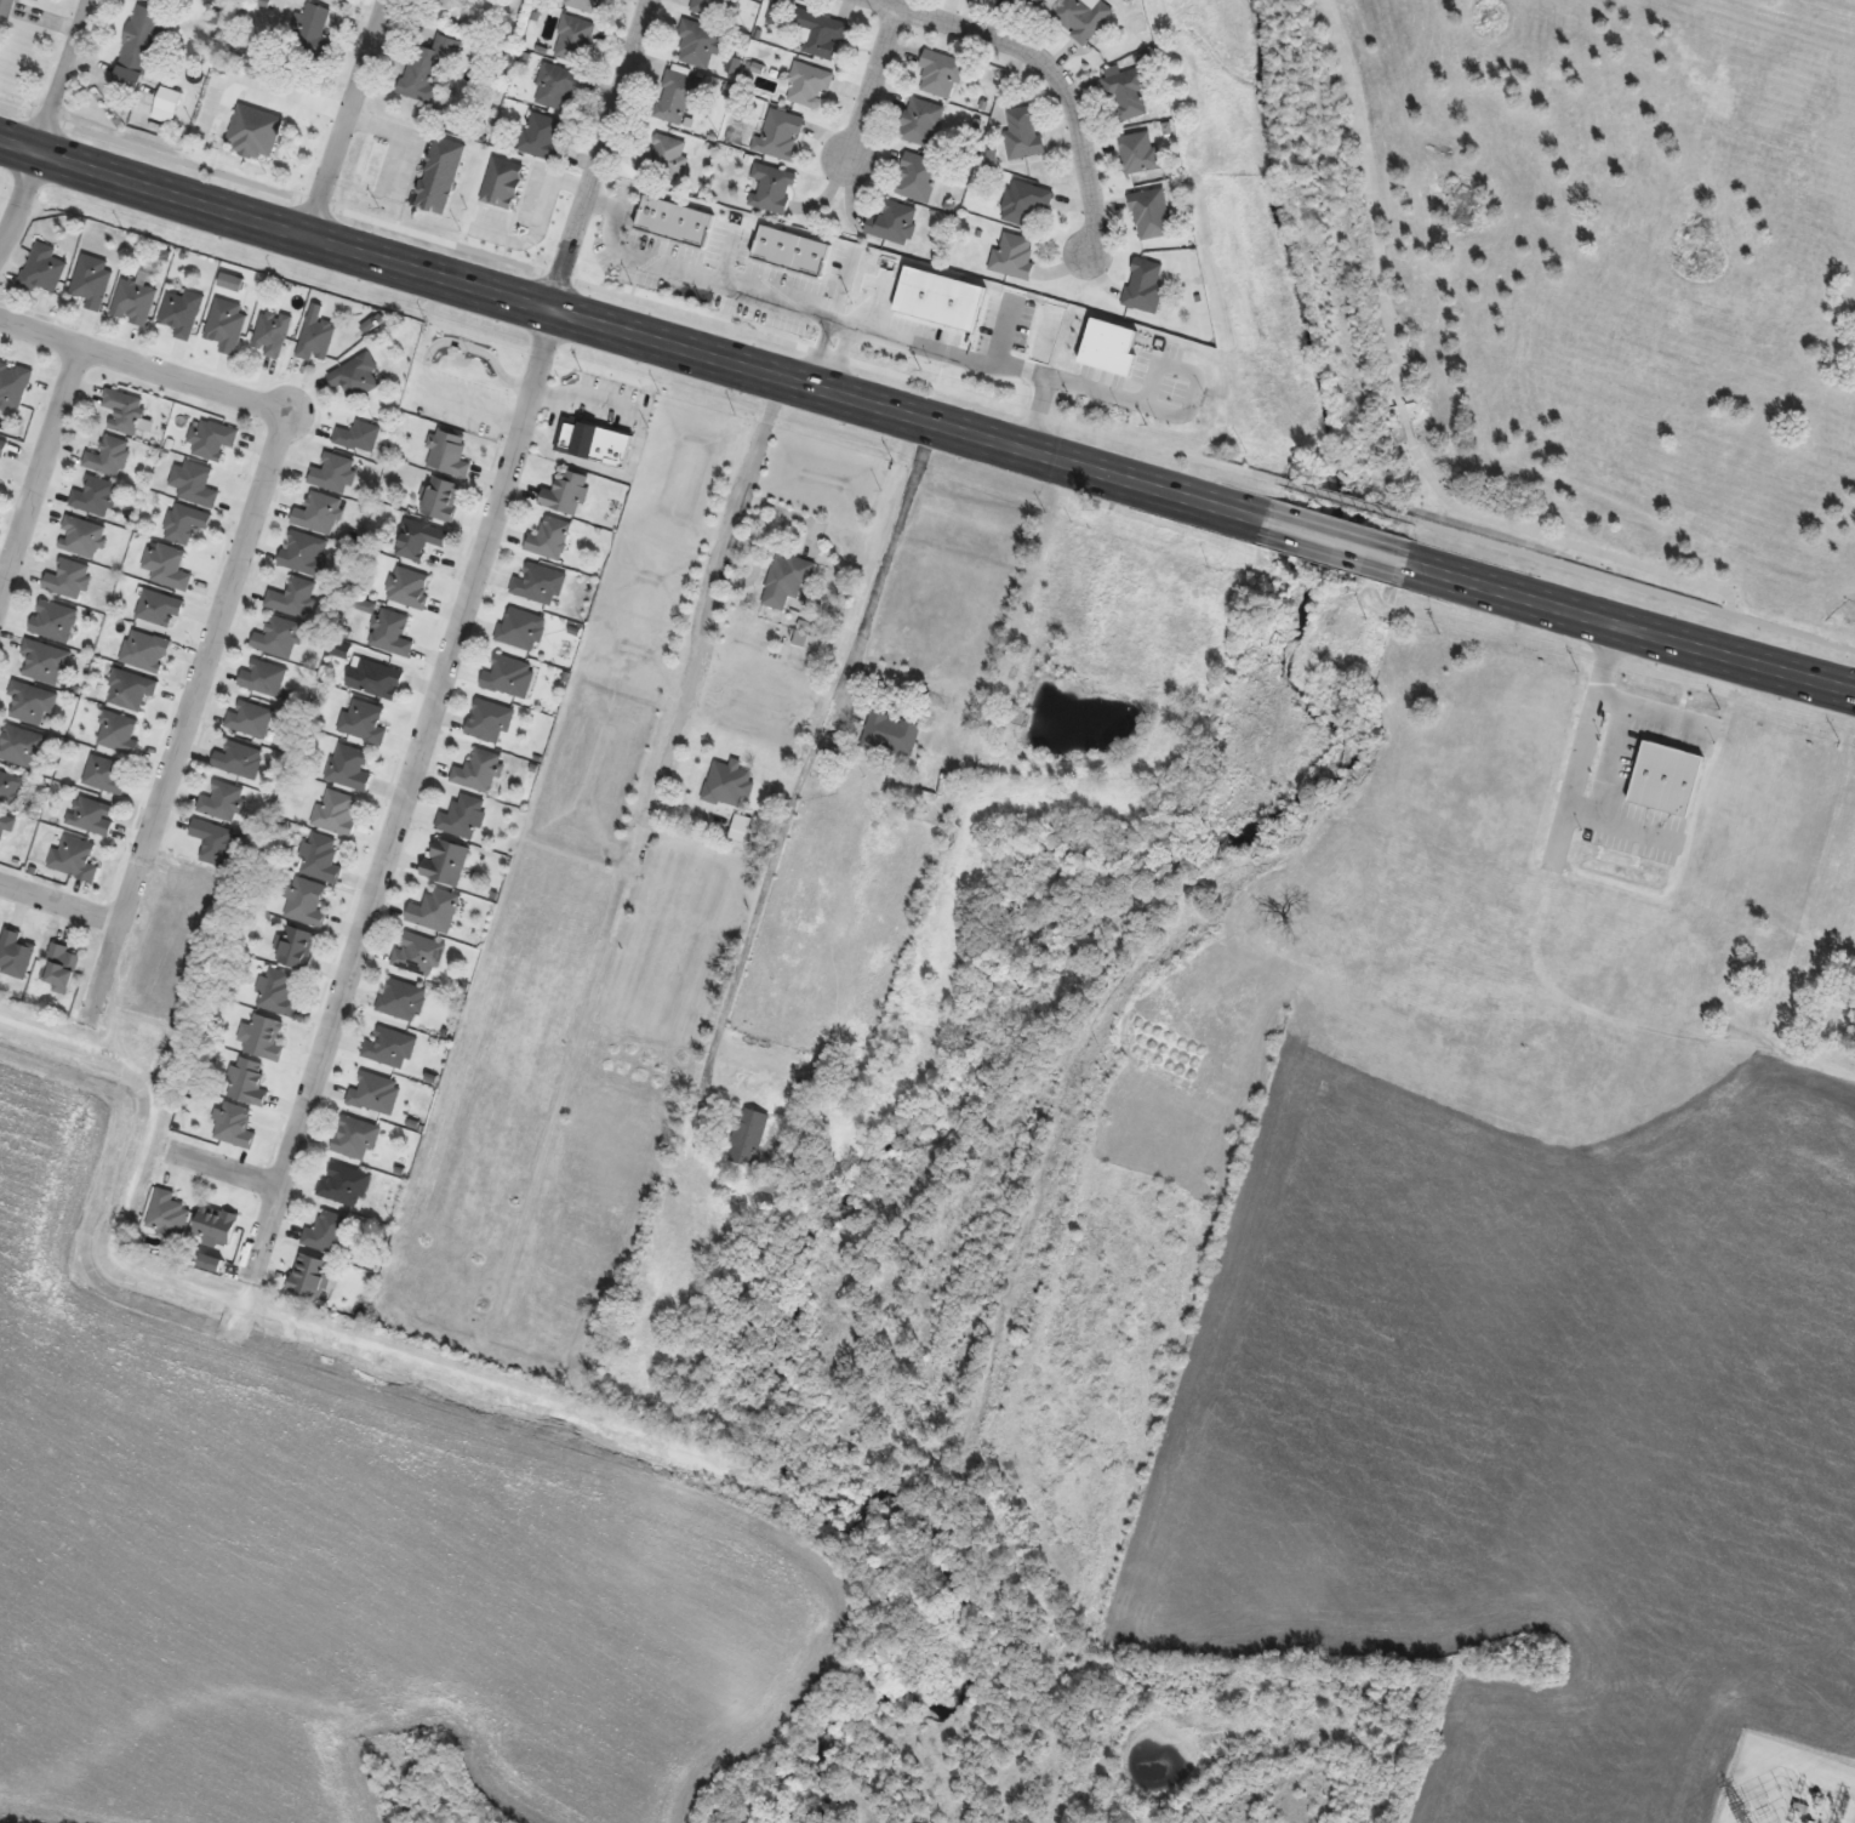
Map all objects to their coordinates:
building: (36, 0)
building: (609, 0)
building: (1027, 2)
building: (444, 4)
building: (583, 5)
building: (6, 8)
building: (715, 8)
building: (1081, 18)
building: (312, 33)
building: (145, 34)
building: (821, 34)
building: (573, 40)
building: (702, 44)
road: (1044, 67)
building: (428, 69)
building: (940, 75)
road: (264, 86)
building: (556, 87)
building: (810, 87)
road: (869, 87)
building: (1128, 93)
building: (678, 98)
building: (167, 101)
road: (346, 115)
building: (921, 123)
road: (42, 125)
building: (255, 133)
building: (780, 135)
building: (1023, 135)
building: (542, 137)
road: (601, 153)
building: (1140, 153)
building: (663, 156)
building: (918, 178)
building: (502, 184)
building: (771, 189)
building: (435, 193)
road: (1370, 200)
building: (1024, 203)
building: (1152, 215)
building: (674, 223)
building: (894, 223)
building: (789, 252)
building: (1014, 255)
building: (44, 269)
building: (92, 281)
building: (1145, 286)
road: (640, 301)
building: (133, 302)
building: (182, 313)
building: (227, 325)
road: (628, 329)
road: (869, 329)
building: (272, 334)
building: (318, 340)
road: (817, 351)
road: (838, 357)
road: (143, 365)
building: (356, 377)
building: (13, 386)
building: (125, 412)
road: (1035, 412)
road: (1406, 425)
building: (359, 438)
building: (213, 440)
building: (595, 443)
building: (4, 449)
building: (450, 455)
building: (109, 457)
road: (40, 471)
building: (335, 474)
building: (195, 485)
building: (566, 494)
building: (96, 497)
building: (440, 500)
road: (1351, 502)
building: (319, 514)
building: (185, 524)
building: (81, 537)
building: (421, 540)
building: (550, 540)
road: (1337, 542)
road: (1566, 542)
building: (306, 553)
building: (169, 569)
building: (69, 580)
building: (787, 581)
building: (540, 585)
road: (1634, 586)
building: (409, 588)
road: (713, 592)
building: (295, 598)
building: (160, 609)
building: (55, 622)
road: (1634, 627)
building: (521, 631)
building: (392, 633)
building: (279, 638)
building: (147, 651)
building: (46, 663)
building: (509, 677)
building: (263, 678)
building: (375, 679)
building: (131, 690)
road: (193, 701)
building: (32, 705)
road: (1649, 710)
building: (250, 719)
building: (365, 723)
building: (490, 723)
building: (119, 734)
building: (891, 735)
building: (22, 747)
road: (809, 753)
road: (1613, 759)
building: (240, 760)
road: (1579, 762)
building: (350, 768)
building: (479, 771)
building: (107, 775)
building: (729, 786)
building: (12, 788)
road: (406, 790)
building: (223, 802)
building: (923, 805)
building: (337, 813)
building: (92, 816)
building: (464, 817)
building: (6, 826)
building: (741, 828)
building: (215, 843)
building: (75, 859)
building: (321, 859)
building: (446, 862)
road: (61, 904)
building: (307, 904)
building: (434, 911)
building: (1695, 930)
building: (296, 948)
building: (419, 955)
building: (16, 956)
building: (61, 968)
building: (278, 993)
building: (403, 1001)
building: (1839, 1015)
building: (263, 1039)
building: (390, 1049)
building: (826, 1076)
building: (247, 1082)
building: (376, 1094)
building: (234, 1127)
building: (749, 1138)
building: (356, 1139)
road: (226, 1168)
building: (769, 1184)
building: (344, 1185)
building: (167, 1217)
building: (216, 1227)
building: (326, 1234)
building: (310, 1277)
power substation: (1788, 1785)

